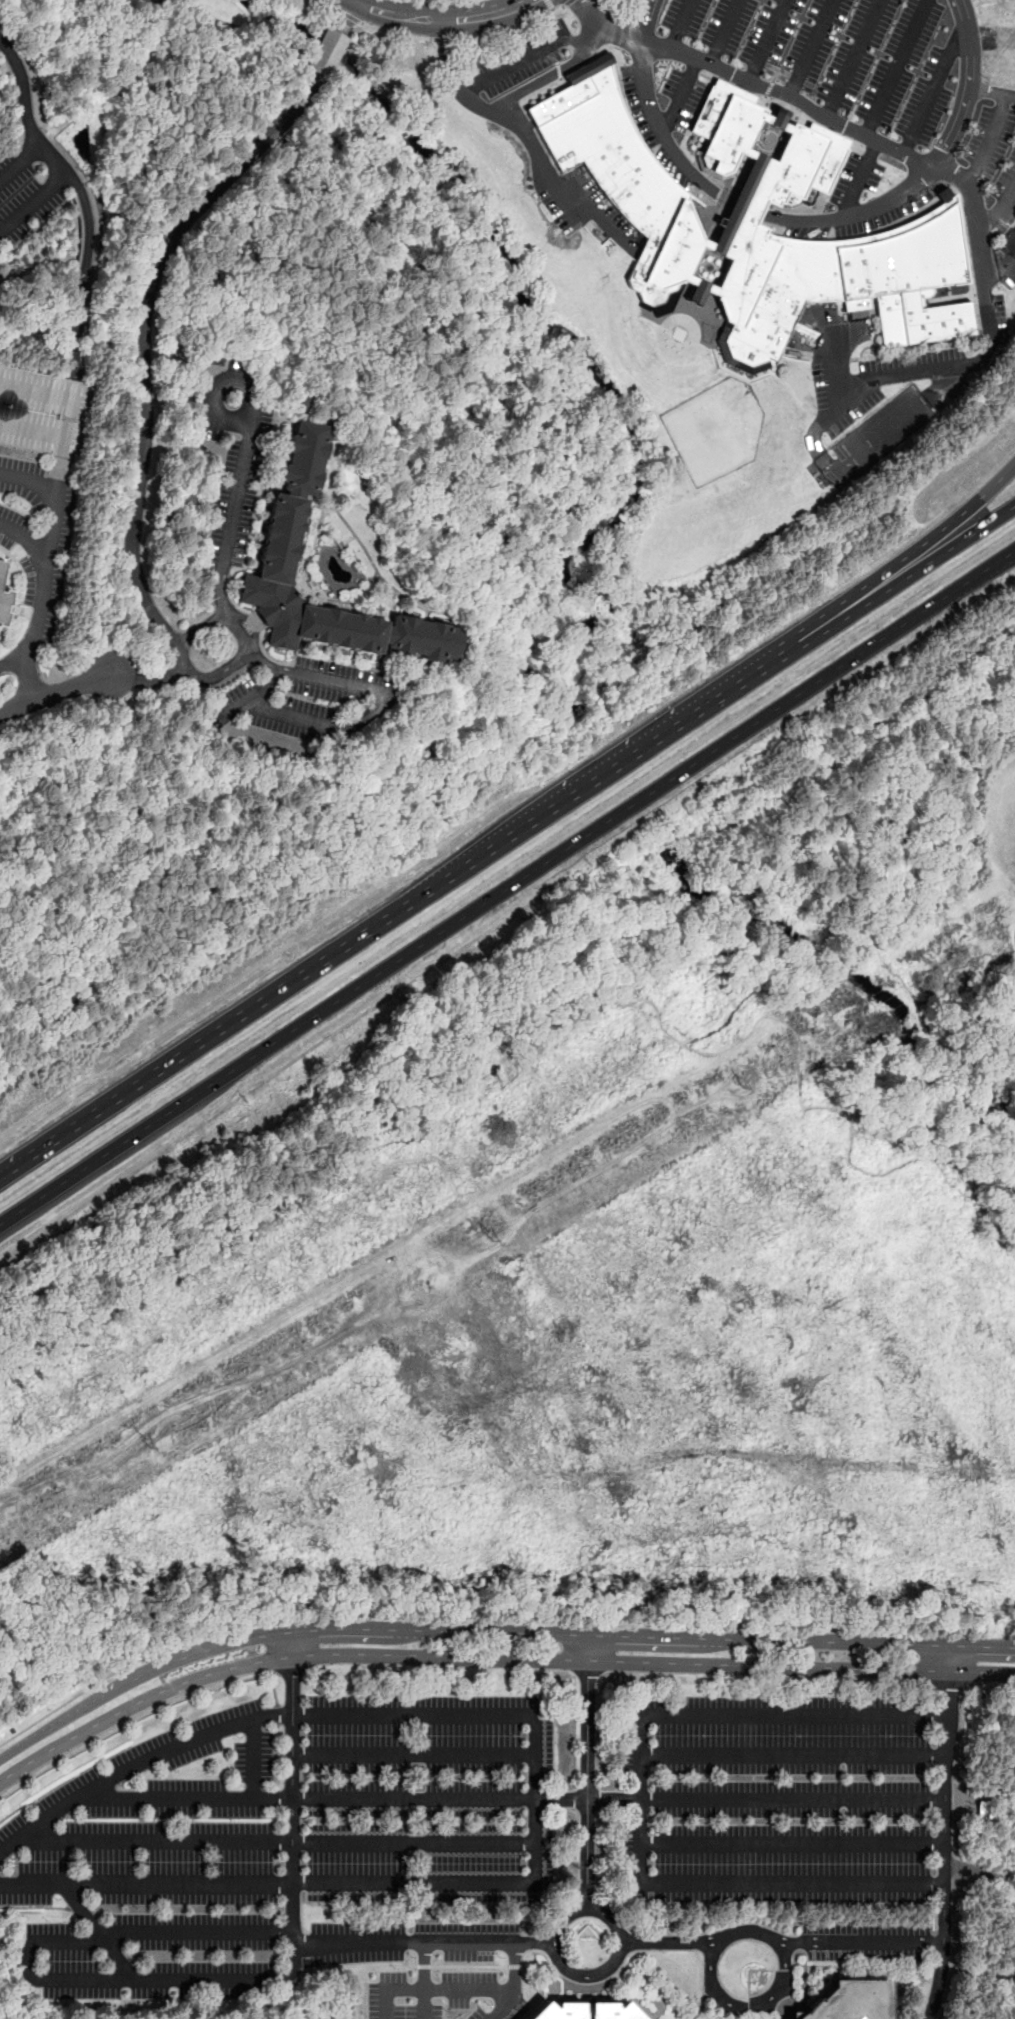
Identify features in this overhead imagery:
road: (568, 2)
building: (997, 4)
road: (328, 5)
road: (551, 5)
road: (348, 16)
road: (348, 17)
road: (439, 19)
road: (649, 19)
road: (681, 24)
road: (605, 28)
road: (243, 29)
road: (512, 30)
road: (724, 32)
road: (398, 33)
road: (445, 40)
road: (767, 40)
road: (810, 49)
building: (1003, 51)
building: (328, 52)
road: (330, 52)
road: (444, 58)
road: (853, 58)
road: (895, 68)
road: (934, 83)
road: (991, 90)
road: (462, 92)
road: (681, 98)
road: (874, 140)
road: (990, 143)
road: (19, 160)
road: (551, 179)
road: (860, 179)
road: (81, 196)
road: (33, 200)
road: (744, 206)
road: (997, 211)
building: (662, 215)
road: (981, 255)
road: (180, 266)
road: (116, 288)
road: (893, 375)
road: (145, 383)
road: (835, 401)
building: (43, 412)
parking garage: (43, 412)
road: (57, 493)
road: (234, 510)
road: (928, 538)
building: (285, 539)
road: (22, 541)
road: (929, 561)
building: (3, 597)
road: (35, 629)
road: (200, 629)
road: (239, 632)
road: (12, 660)
road: (220, 673)
road: (255, 692)
road: (58, 693)
road: (385, 699)
road: (625, 764)
road: (876, 776)
road: (768, 808)
road: (507, 886)
power tower: (1003, 926)
road: (1014, 935)
road: (203, 1045)
road: (753, 1072)
road: (359, 1103)
road: (490, 1153)
road: (365, 1315)
road: (8, 1380)
road: (492, 1631)
road: (492, 1659)
road: (111, 1673)
road: (274, 1690)
road: (961, 1708)
road: (332, 1713)
road: (132, 1722)
road: (415, 1754)
road: (256, 1755)
road: (791, 1755)
road: (589, 1771)
road: (293, 1793)
road: (514, 1795)
road: (637, 1796)
parking lot: (791, 1810)
road: (945, 1832)
road: (283, 1840)
road: (791, 1842)
parking lot: (288, 1854)
park: (986, 1858)
road: (268, 1883)
road: (745, 1929)
road: (556, 1932)
road: (424, 1943)
road: (861, 1944)
road: (667, 1945)
road: (28, 1963)
road: (392, 1988)
road: (470, 1988)
building: (855, 2001)
road: (423, 2003)
road: (501, 2004)
road: (749, 2006)
building: (589, 2010)

